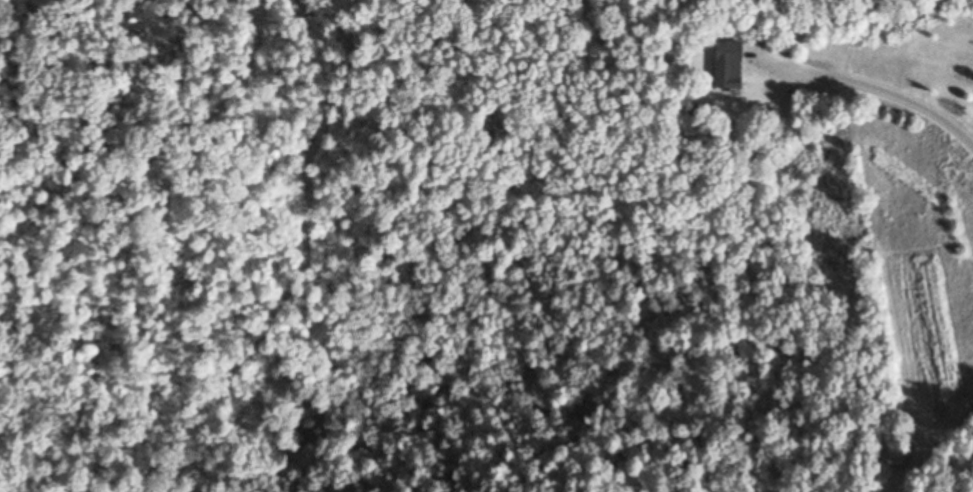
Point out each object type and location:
building: (733, 66)
road: (882, 87)

